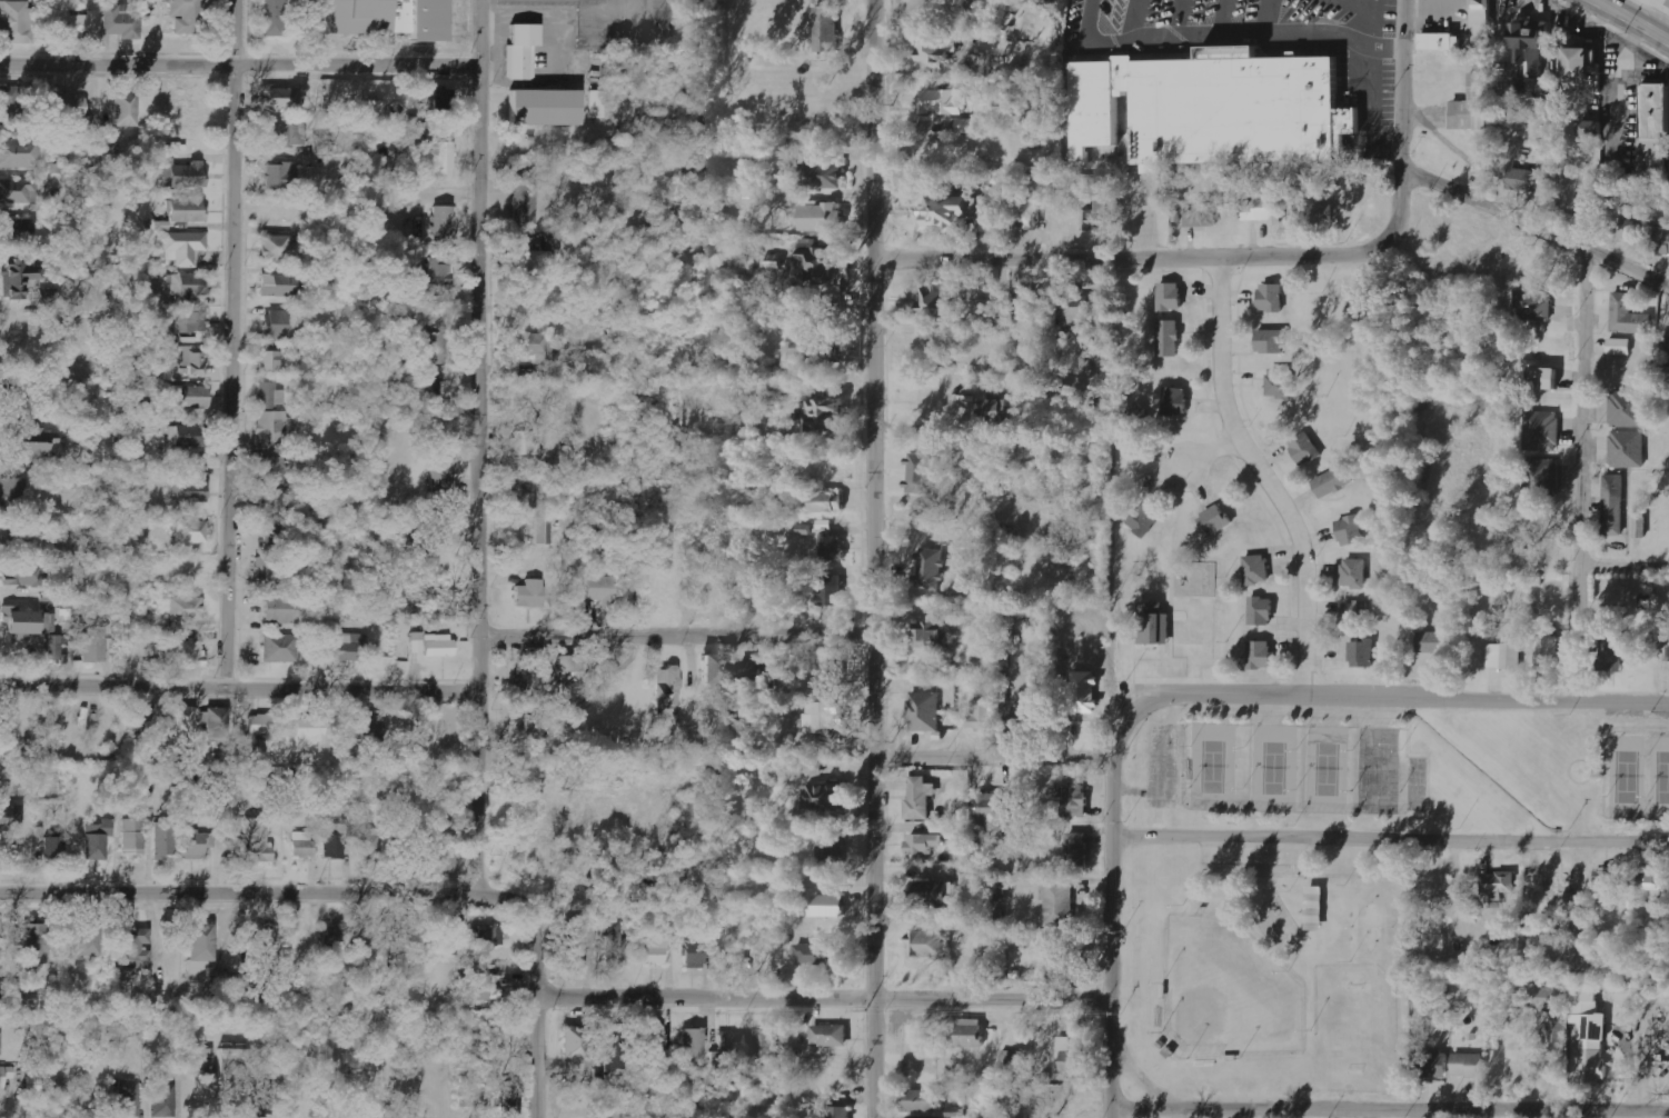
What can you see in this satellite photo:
building: (187, 14)
building: (274, 18)
road: (1265, 18)
building: (391, 19)
road: (1086, 19)
road: (1635, 20)
building: (17, 22)
building: (121, 23)
building: (81, 24)
building: (826, 29)
road: (1244, 36)
building: (1441, 42)
building: (1531, 47)
building: (937, 48)
building: (523, 52)
building: (1582, 63)
road: (241, 66)
building: (982, 66)
building: (280, 99)
building: (434, 99)
building: (942, 101)
building: (597, 104)
building: (1214, 104)
building: (70, 106)
building: (1472, 106)
building: (11, 107)
building: (546, 109)
building: (376, 110)
building: (126, 111)
building: (1655, 128)
road: (1404, 129)
building: (1591, 129)
building: (285, 136)
building: (438, 161)
building: (178, 171)
building: (823, 176)
building: (281, 177)
building: (1528, 180)
building: (18, 192)
building: (781, 198)
building: (527, 200)
building: (1265, 210)
building: (188, 211)
building: (1203, 213)
building: (1314, 213)
building: (954, 214)
building: (823, 218)
building: (1030, 218)
building: (444, 224)
road: (1537, 227)
building: (1631, 229)
building: (17, 232)
building: (1661, 240)
building: (185, 248)
building: (279, 249)
road: (1125, 256)
building: (538, 263)
building: (818, 263)
building: (436, 272)
building: (20, 281)
building: (191, 285)
building: (279, 286)
building: (49, 295)
building: (1171, 296)
building: (1272, 297)
building: (941, 299)
building: (1027, 300)
building: (1534, 306)
building: (1074, 310)
building: (1629, 316)
building: (276, 326)
building: (192, 327)
building: (1169, 338)
building: (1271, 340)
building: (433, 341)
road: (238, 343)
building: (1620, 347)
building: (817, 351)
building: (538, 352)
building: (191, 359)
building: (270, 362)
building: (1089, 363)
building: (1665, 375)
building: (1544, 377)
building: (1280, 382)
building: (429, 387)
building: (270, 396)
building: (189, 398)
building: (1176, 400)
building: (991, 408)
building: (1627, 408)
building: (149, 411)
building: (826, 413)
building: (271, 429)
building: (1541, 430)
building: (188, 437)
building: (525, 445)
building: (39, 446)
road: (480, 446)
building: (1305, 448)
building: (1627, 449)
road: (1273, 469)
building: (274, 470)
road: (1581, 472)
building: (1541, 478)
building: (1333, 481)
building: (191, 487)
building: (524, 493)
building: (13, 495)
building: (828, 501)
building: (281, 502)
building: (1615, 505)
building: (1144, 519)
building: (1215, 519)
building: (1640, 526)
building: (1350, 530)
building: (544, 531)
building: (192, 532)
building: (17, 539)
building: (833, 547)
road: (874, 558)
road: (1625, 561)
building: (267, 568)
building: (1256, 569)
building: (1354, 573)
building: (27, 576)
building: (602, 588)
building: (833, 589)
building: (530, 593)
building: (186, 609)
building: (281, 609)
building: (1261, 610)
building: (1357, 615)
building: (30, 622)
building: (1153, 623)
building: (931, 635)
road: (676, 639)
building: (417, 642)
building: (1435, 642)
building: (95, 645)
building: (439, 646)
building: (346, 647)
building: (53, 648)
building: (279, 648)
building: (190, 650)
building: (1613, 650)
building: (1668, 651)
building: (1362, 652)
building: (1260, 653)
building: (1506, 653)
building: (1549, 653)
building: (570, 663)
building: (714, 673)
building: (756, 673)
building: (529, 679)
building: (828, 680)
road: (239, 688)
building: (666, 690)
road: (1437, 692)
building: (924, 711)
building: (1026, 713)
building: (141, 716)
building: (818, 716)
building: (981, 718)
building: (216, 721)
building: (260, 725)
building: (524, 725)
building: (183, 726)
building: (369, 726)
building: (307, 730)
road: (992, 756)
park: (1211, 765)
park: (1272, 766)
park: (1324, 767)
park: (1375, 769)
park: (1623, 775)
park: (1658, 777)
building: (1071, 795)
building: (829, 796)
building: (920, 798)
building: (11, 818)
road: (1390, 835)
building: (132, 837)
building: (97, 840)
building: (165, 840)
building: (258, 841)
building: (198, 844)
building: (370, 844)
building: (923, 844)
building: (304, 845)
building: (335, 847)
building: (1077, 848)
building: (832, 851)
building: (10, 856)
parking lot: (1251, 857)
building: (446, 859)
park: (1332, 869)
road: (1111, 871)
building: (1499, 884)
building: (1607, 887)
building: (1653, 887)
road: (237, 891)
building: (934, 894)
building: (1059, 904)
building: (828, 906)
building: (1312, 906)
park: (1369, 925)
building: (487, 937)
building: (89, 940)
building: (269, 940)
building: (342, 941)
building: (575, 942)
building: (36, 944)
building: (615, 944)
building: (930, 945)
building: (136, 948)
building: (201, 950)
building: (655, 951)
building: (813, 954)
building: (735, 955)
building: (694, 956)
building: (1070, 960)
road: (535, 982)
building: (488, 987)
park: (1225, 991)
road: (822, 998)
building: (1537, 998)
park: (1354, 1029)
building: (1556, 1031)
building: (971, 1032)
building: (1589, 1032)
building: (829, 1035)
building: (655, 1042)
building: (767, 1044)
building: (731, 1045)
building: (693, 1046)
building: (576, 1049)
building: (613, 1056)
building: (1072, 1059)
building: (200, 1061)
building: (232, 1061)
building: (1435, 1065)
building: (1468, 1065)
building: (6, 1076)
building: (33, 1086)
building: (129, 1098)
building: (162, 1099)
building: (262, 1099)
building: (509, 1099)
building: (922, 1100)
road: (1389, 1108)
building: (840, 1111)
road: (1497, 1112)
park: (1195, 1115)

